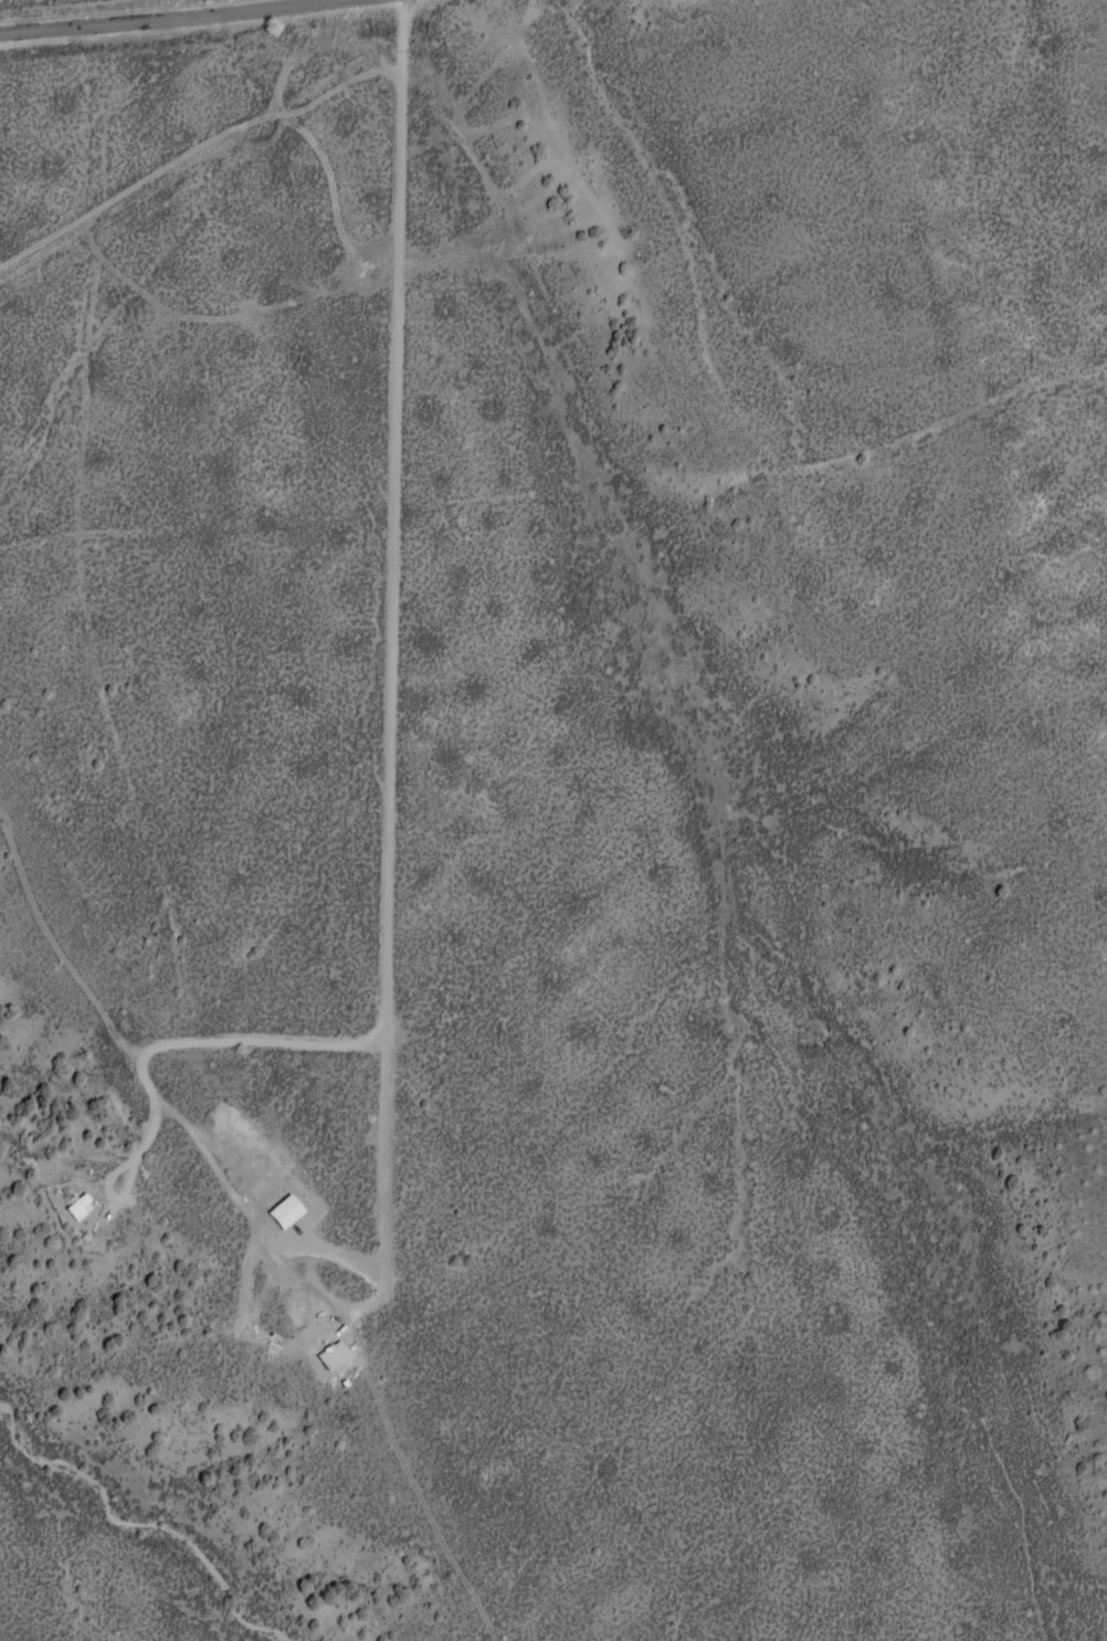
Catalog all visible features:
road: (130, 12)

